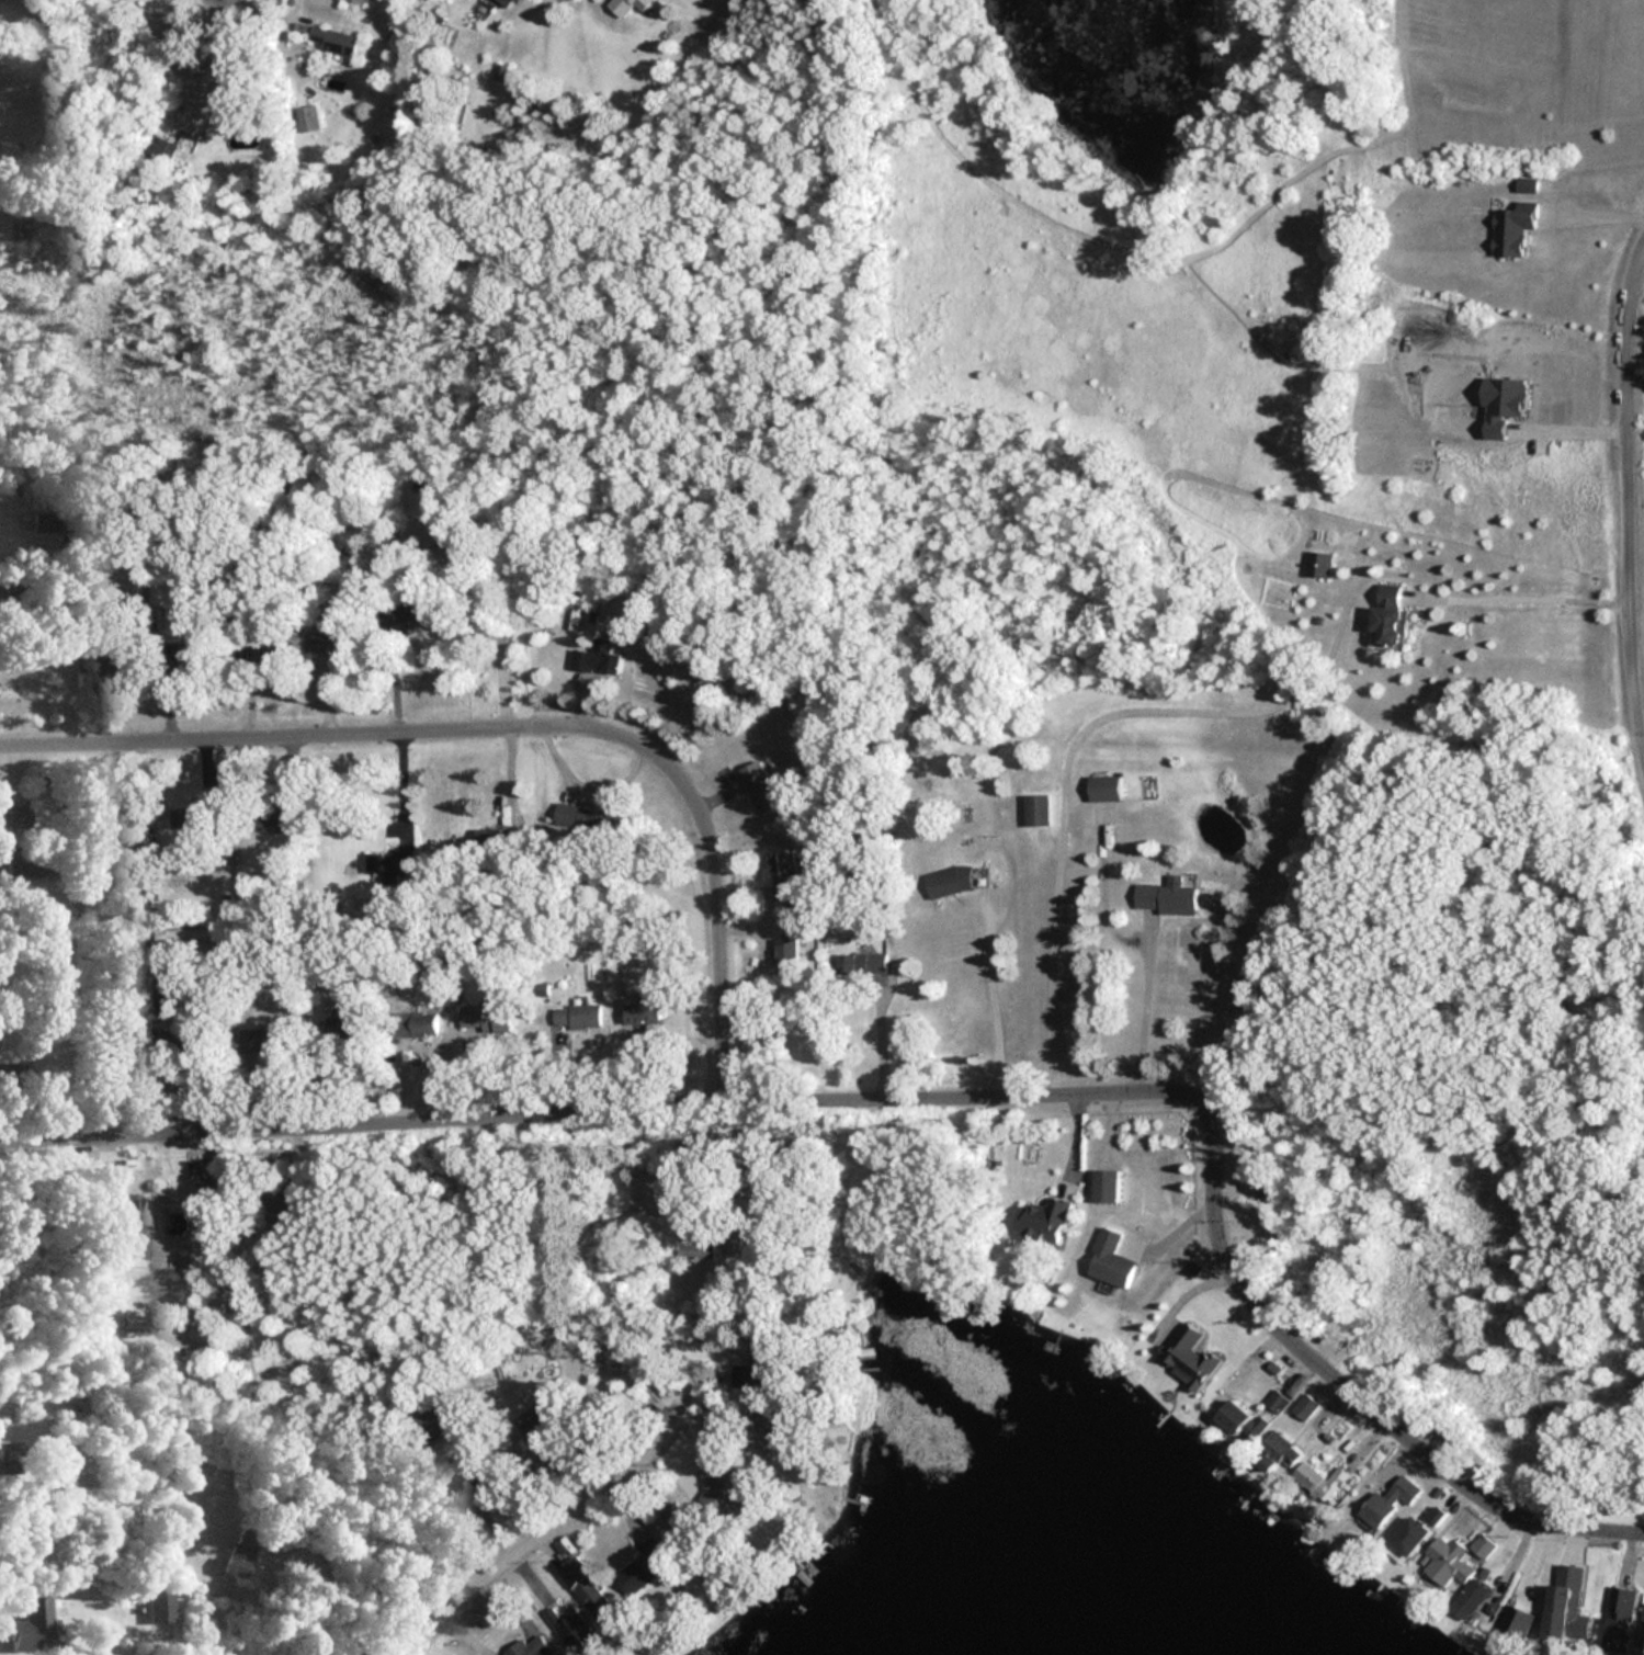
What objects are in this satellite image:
building: (503, 3)
building: (626, 5)
building: (332, 39)
road: (207, 50)
park: (1471, 50)
building: (242, 89)
building: (305, 117)
building: (157, 148)
road: (1592, 213)
building: (1510, 227)
road: (1634, 486)
building: (1317, 565)
road: (1542, 599)
building: (413, 610)
building: (1388, 616)
building: (330, 643)
building: (599, 658)
road: (519, 719)
building: (758, 787)
building: (1104, 789)
building: (1036, 809)
building: (580, 818)
building: (781, 876)
building: (948, 881)
building: (1167, 895)
building: (784, 954)
building: (854, 963)
road: (994, 1006)
building: (640, 1014)
building: (574, 1016)
building: (483, 1018)
road: (1142, 1018)
building: (343, 1029)
road: (886, 1038)
building: (261, 1041)
building: (179, 1044)
road: (613, 1108)
building: (1104, 1187)
building: (285, 1209)
building: (126, 1210)
building: (1042, 1222)
building: (692, 1251)
building: (1110, 1260)
building: (1190, 1359)
building: (756, 1370)
road: (1359, 1396)
building: (1278, 1401)
building: (431, 1419)
building: (1243, 1421)
building: (534, 1427)
building: (760, 1427)
building: (1281, 1450)
building: (1322, 1481)
building: (483, 1488)
building: (1386, 1504)
road: (565, 1506)
building: (1437, 1516)
building: (673, 1517)
building: (1409, 1540)
building: (1484, 1546)
building: (234, 1555)
building: (1447, 1563)
building: (644, 1566)
building: (587, 1589)
building: (1471, 1600)
building: (1561, 1611)
building: (1515, 1618)
building: (1619, 1619)
building: (29, 1625)
building: (571, 1630)
building: (529, 1647)

